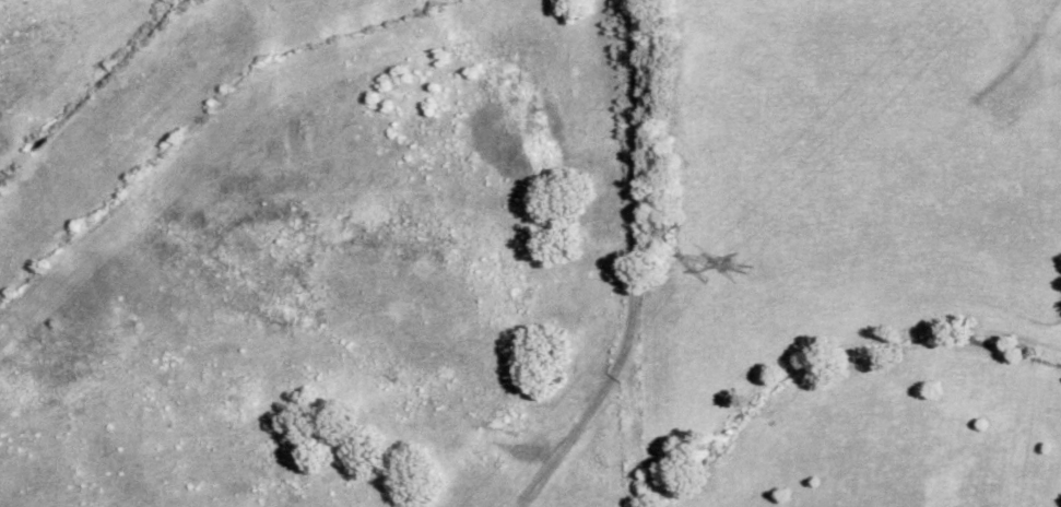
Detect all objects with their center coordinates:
power tower: (729, 251)

